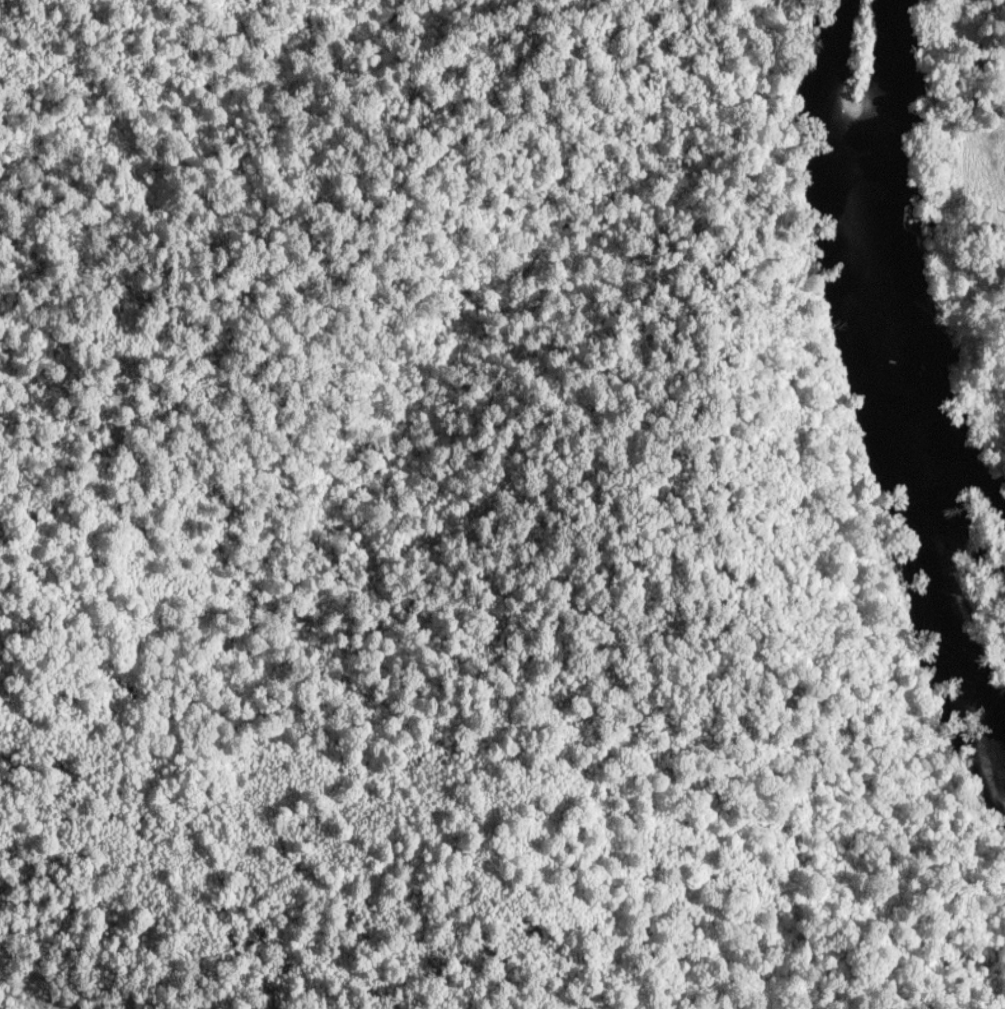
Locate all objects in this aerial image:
river: (880, 389)

